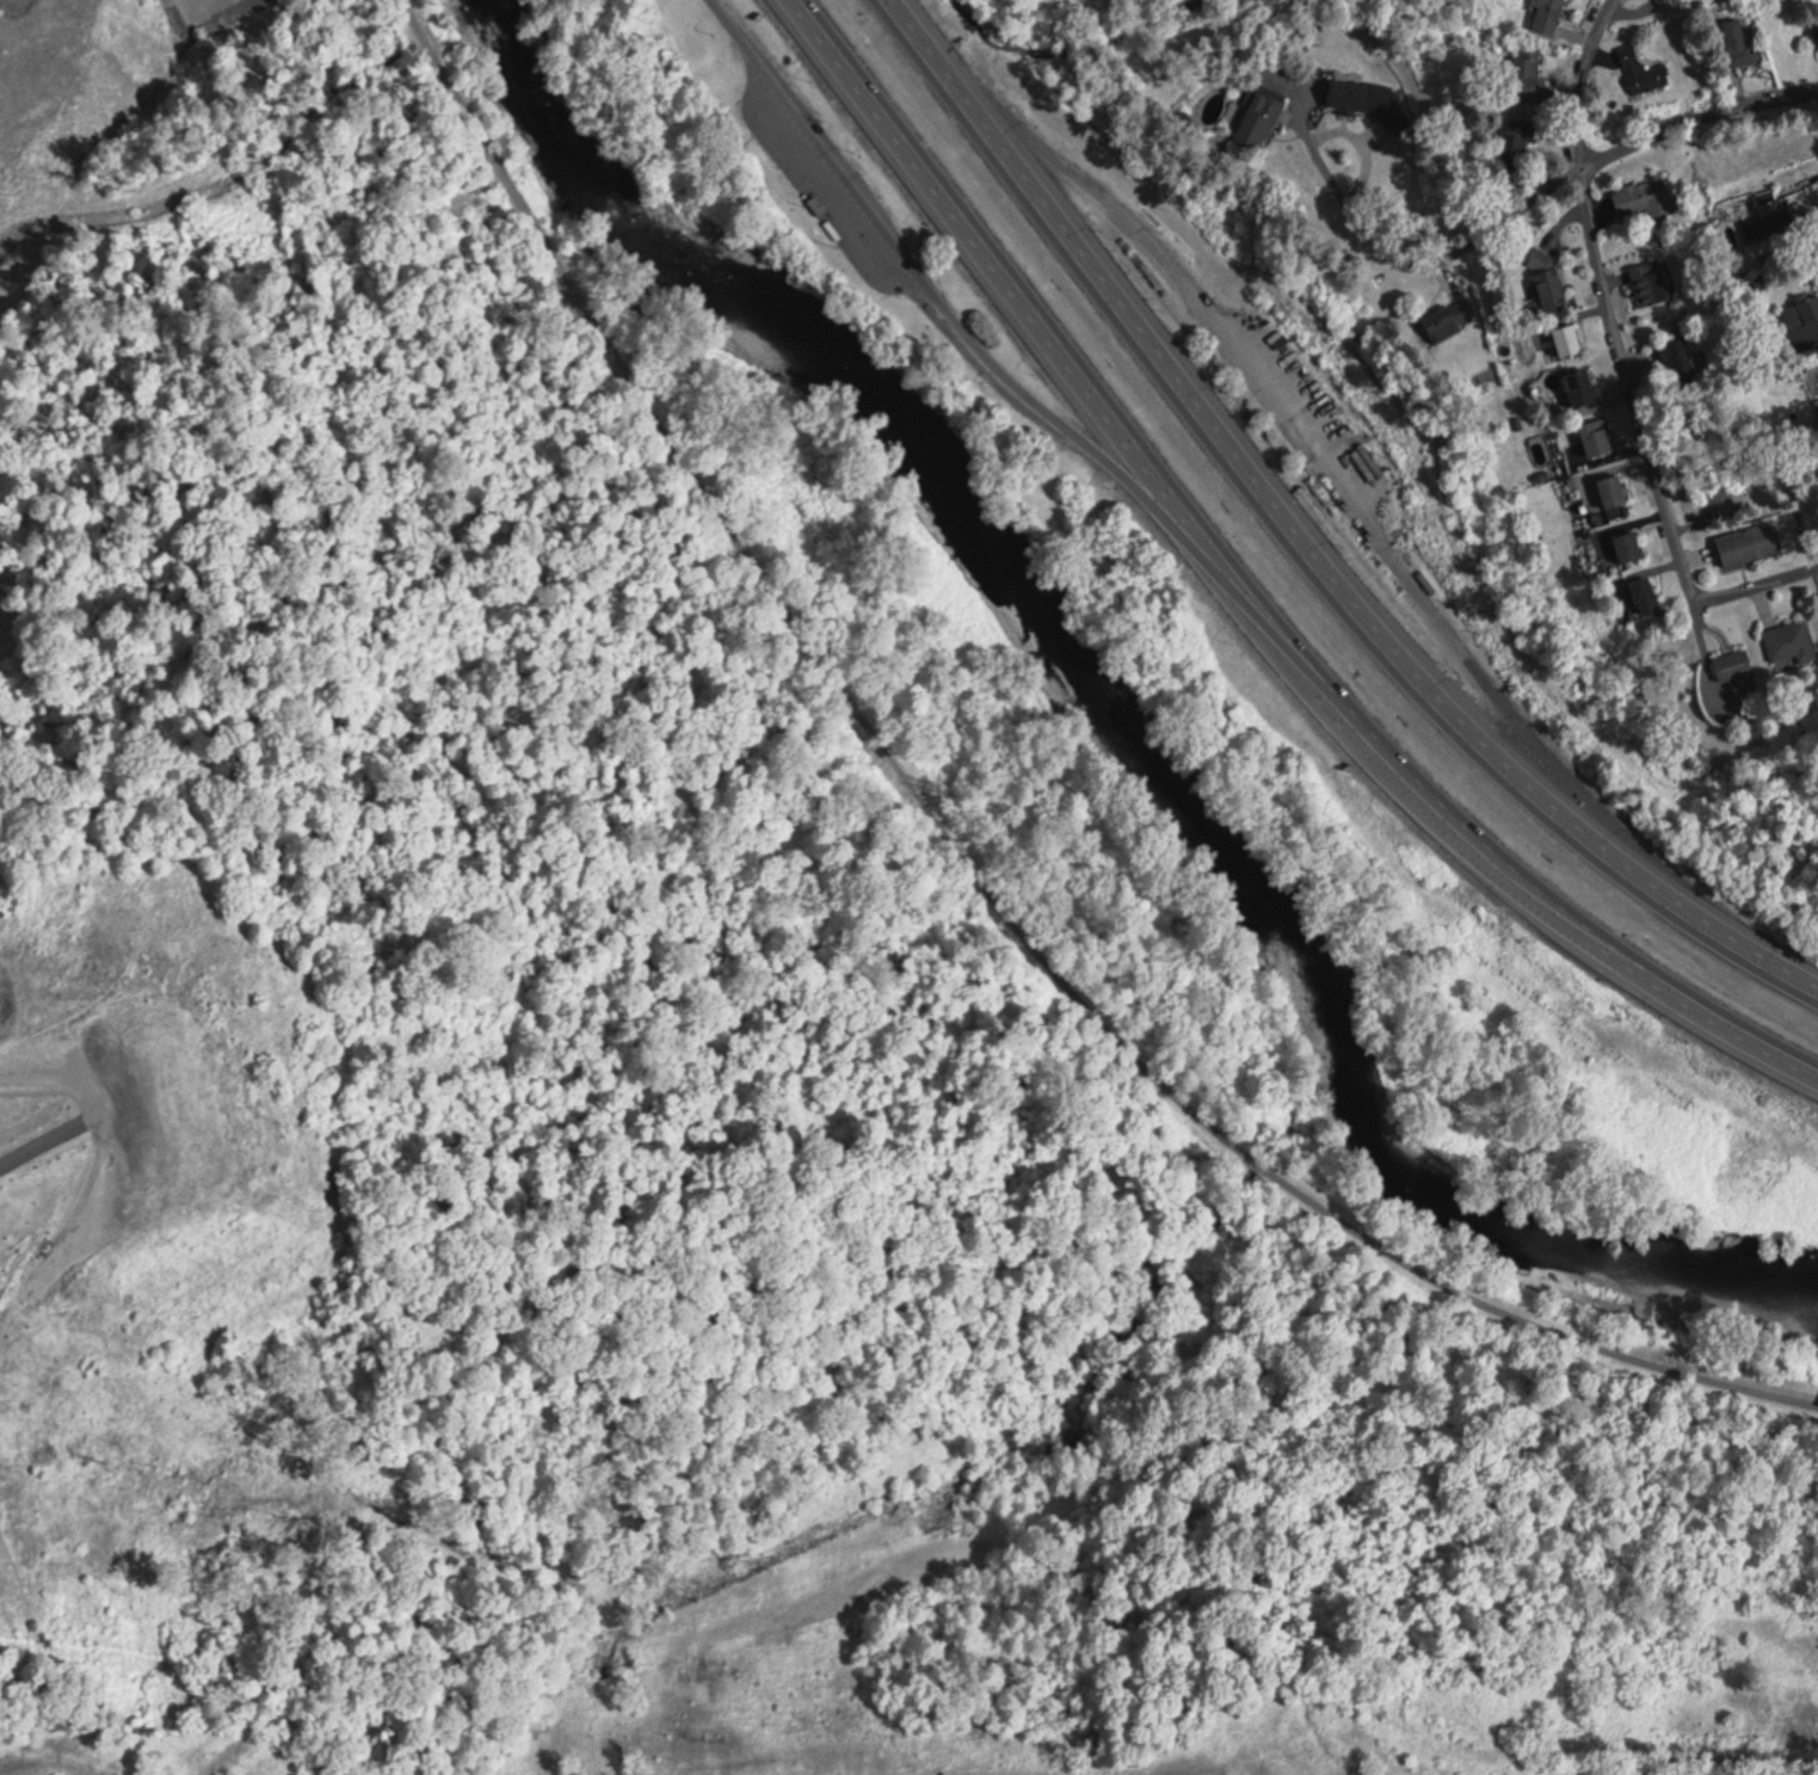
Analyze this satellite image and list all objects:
building: (1668, 1)
park: (1025, 8)
building: (1547, 14)
road: (727, 21)
building: (1743, 42)
building: (1643, 69)
building: (1526, 72)
building: (1351, 94)
road: (1699, 116)
building: (1259, 117)
building: (1521, 137)
road: (255, 167)
road: (840, 172)
road: (1102, 195)
building: (1643, 197)
building: (818, 203)
building: (1775, 209)
road: (1426, 253)
building: (1549, 278)
building: (1650, 281)
building: (1452, 316)
building: (1806, 321)
building: (1569, 338)
building: (1681, 358)
road: (1625, 360)
building: (1582, 386)
road: (1289, 421)
building: (1597, 436)
road: (1083, 439)
building: (1614, 489)
road: (1307, 542)
building: (1748, 543)
building: (1629, 546)
road: (1250, 594)
building: (1645, 594)
building: (1791, 642)
building: (1733, 664)
road: (1499, 698)
river: (1127, 711)
road: (973, 861)
road: (55, 1077)
road: (47, 1142)

